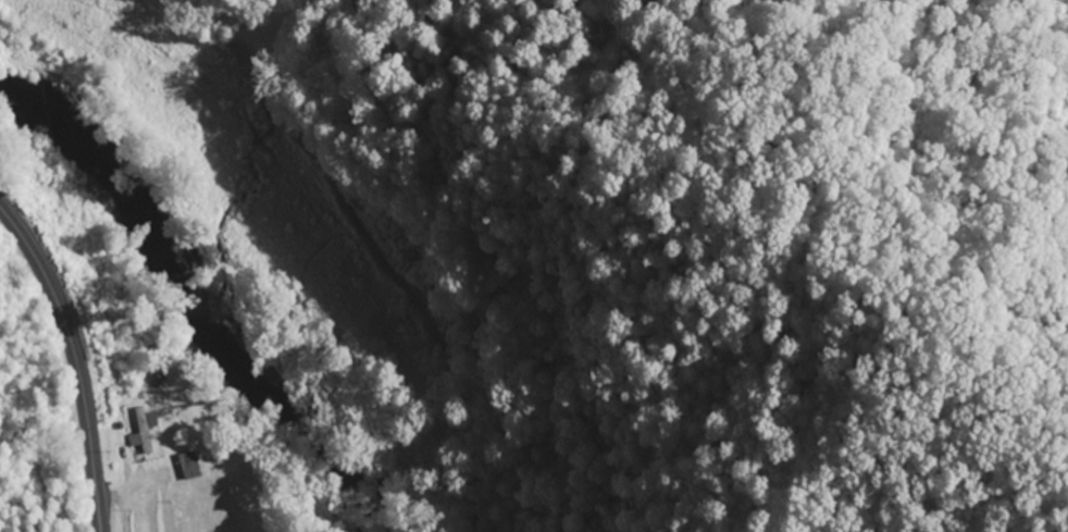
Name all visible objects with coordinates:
road: (364, 238)
road: (75, 358)
building: (146, 431)
building: (191, 467)

